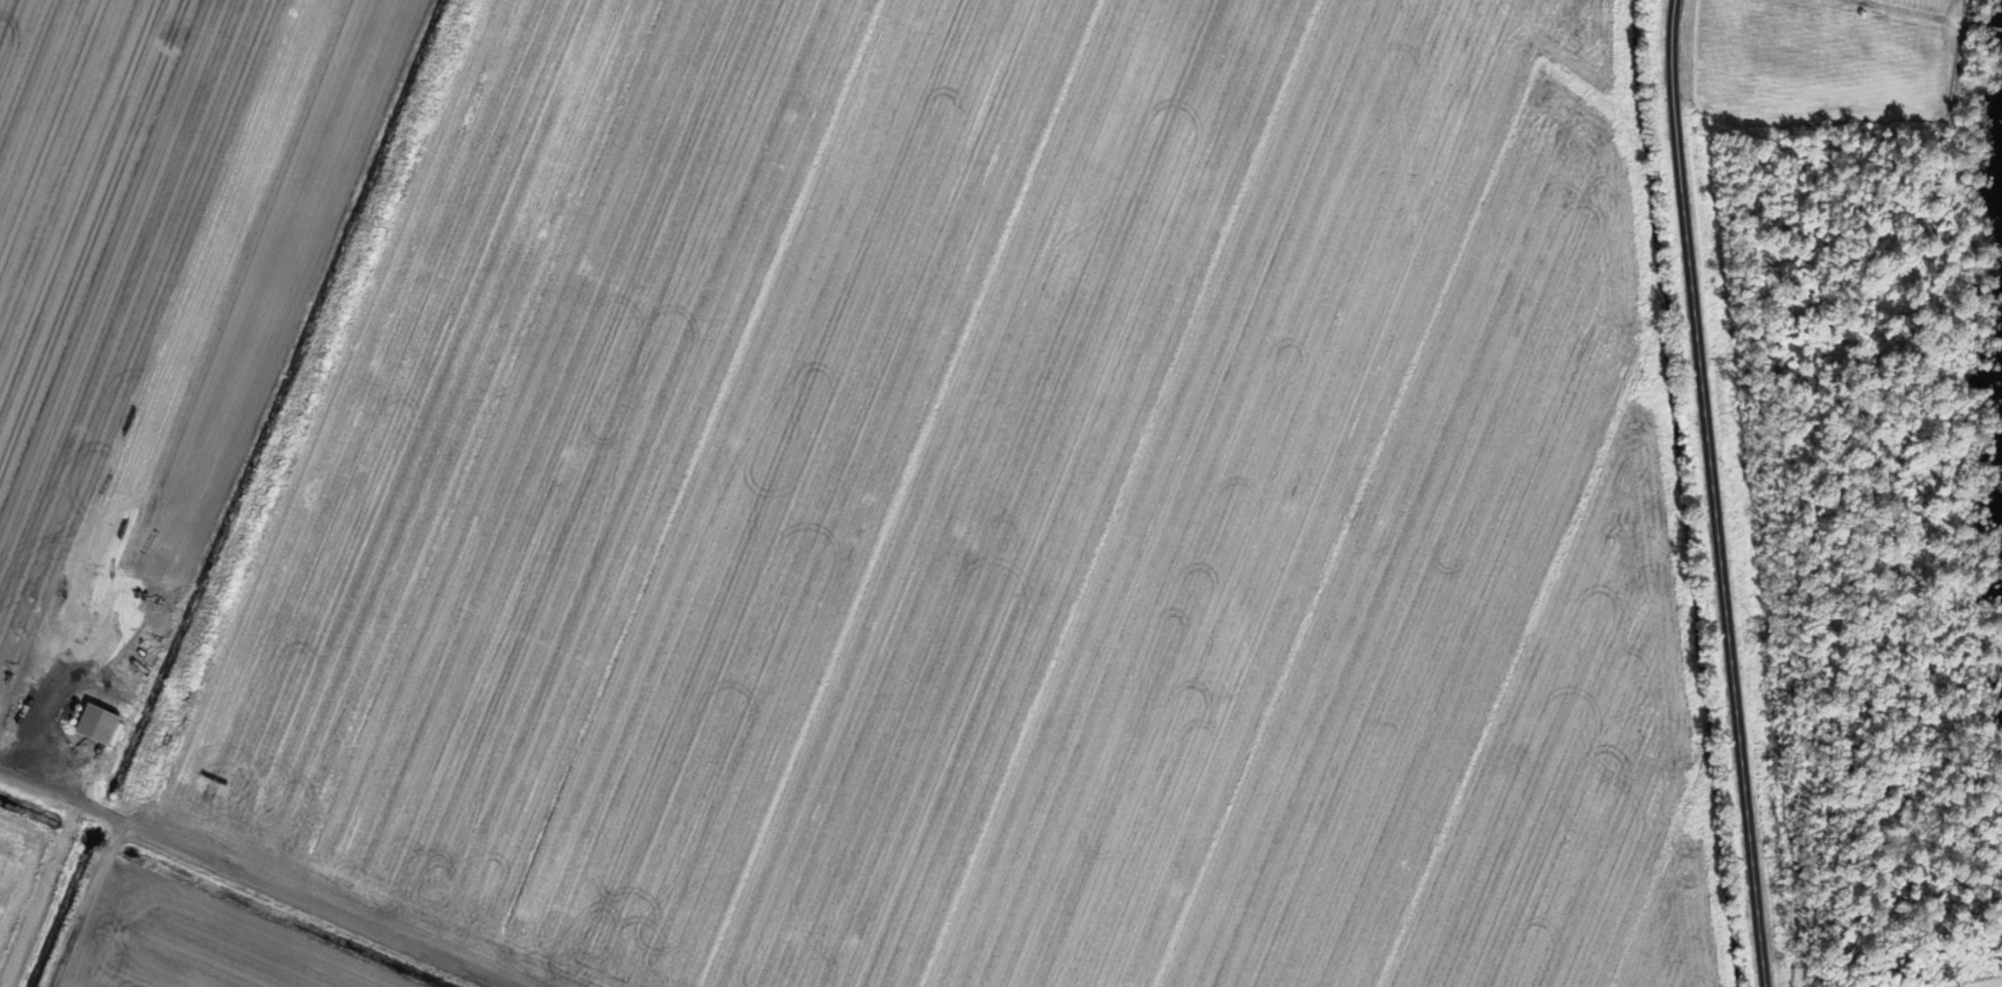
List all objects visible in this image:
road: (1715, 493)
crop: (841, 498)
building: (108, 724)
road: (261, 876)
road: (46, 894)

